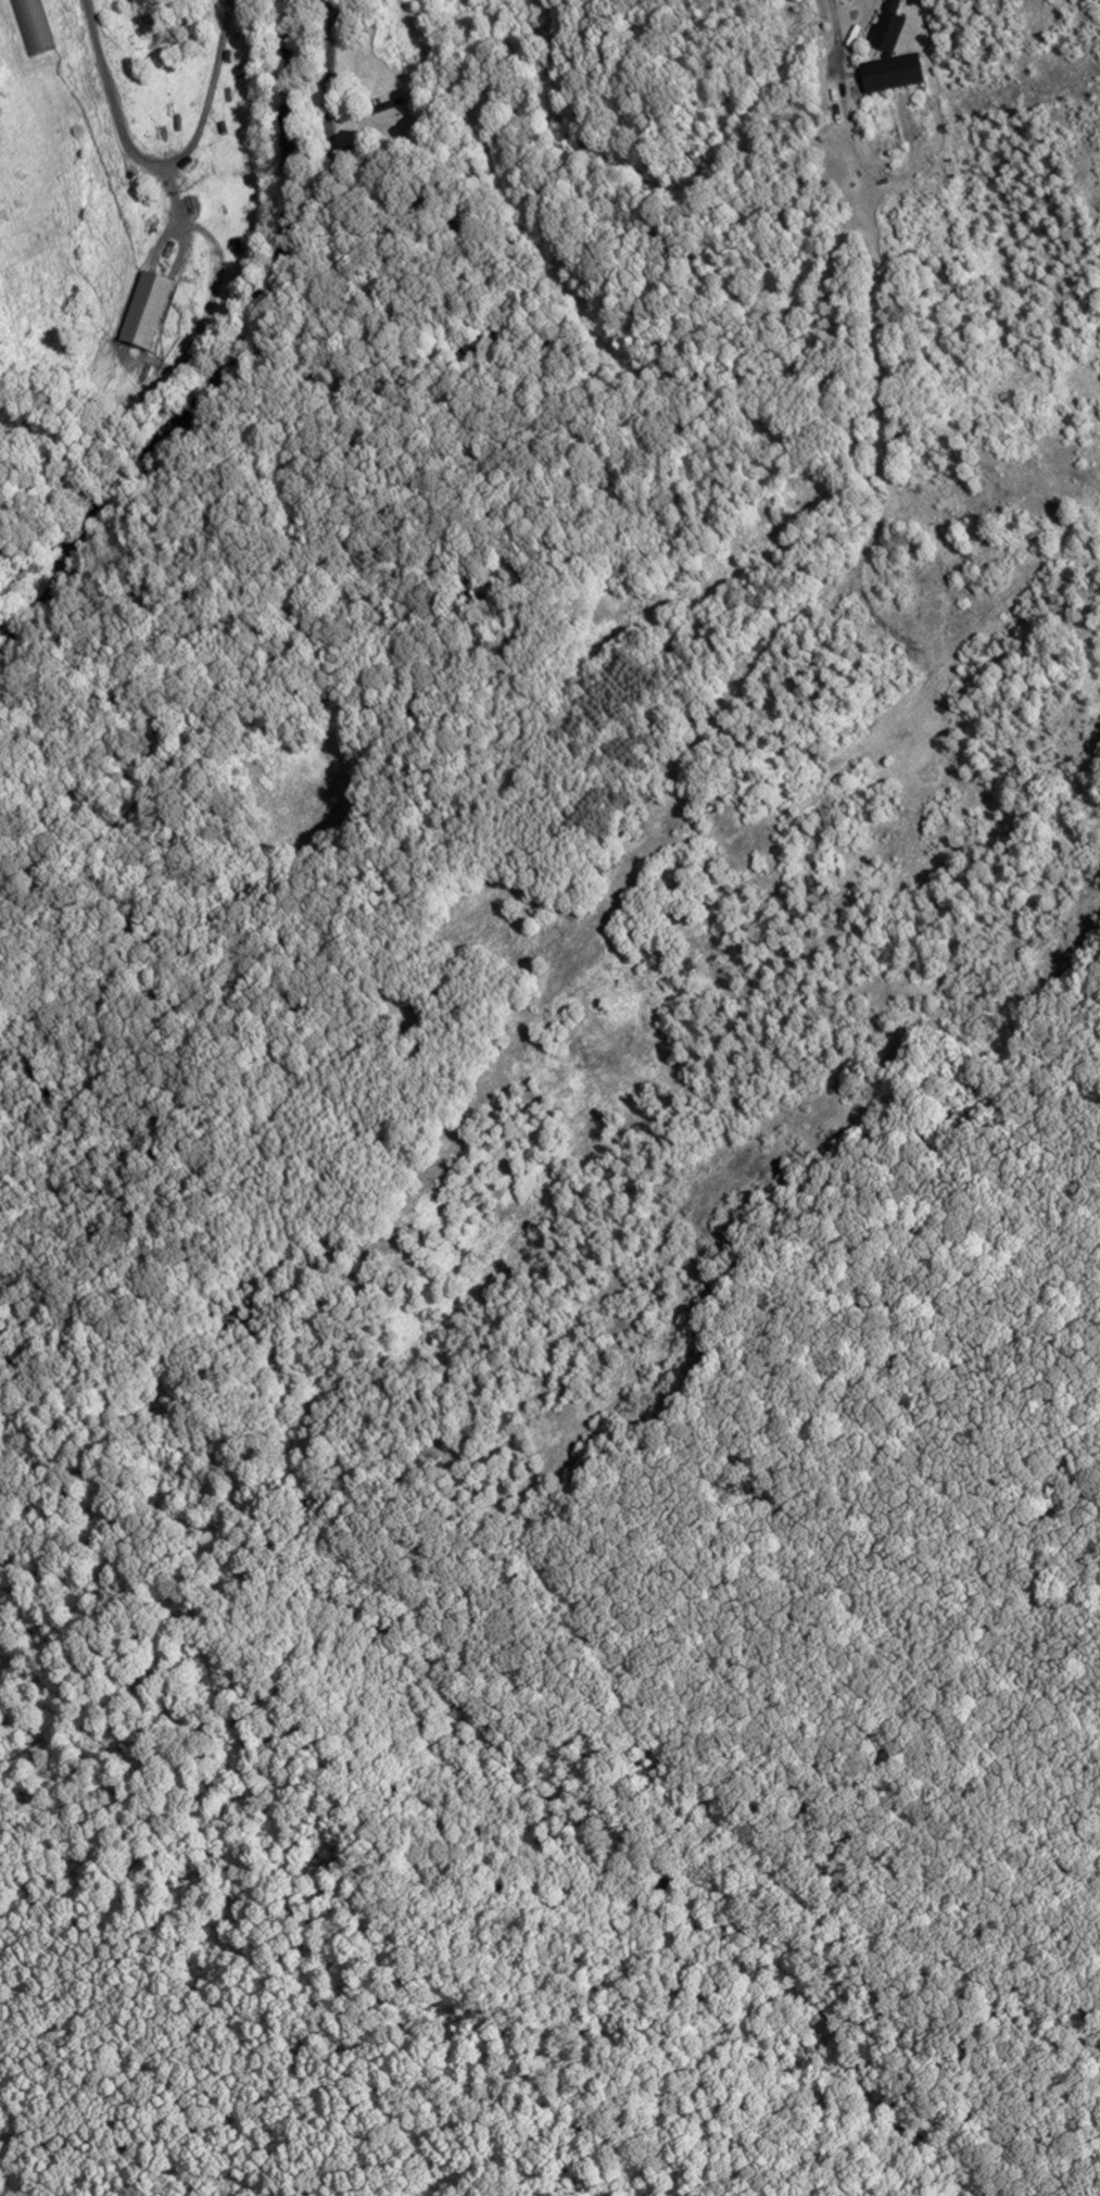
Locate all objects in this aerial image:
building: (889, 28)
building: (894, 76)
road: (142, 111)
building: (150, 312)
road: (295, 544)

